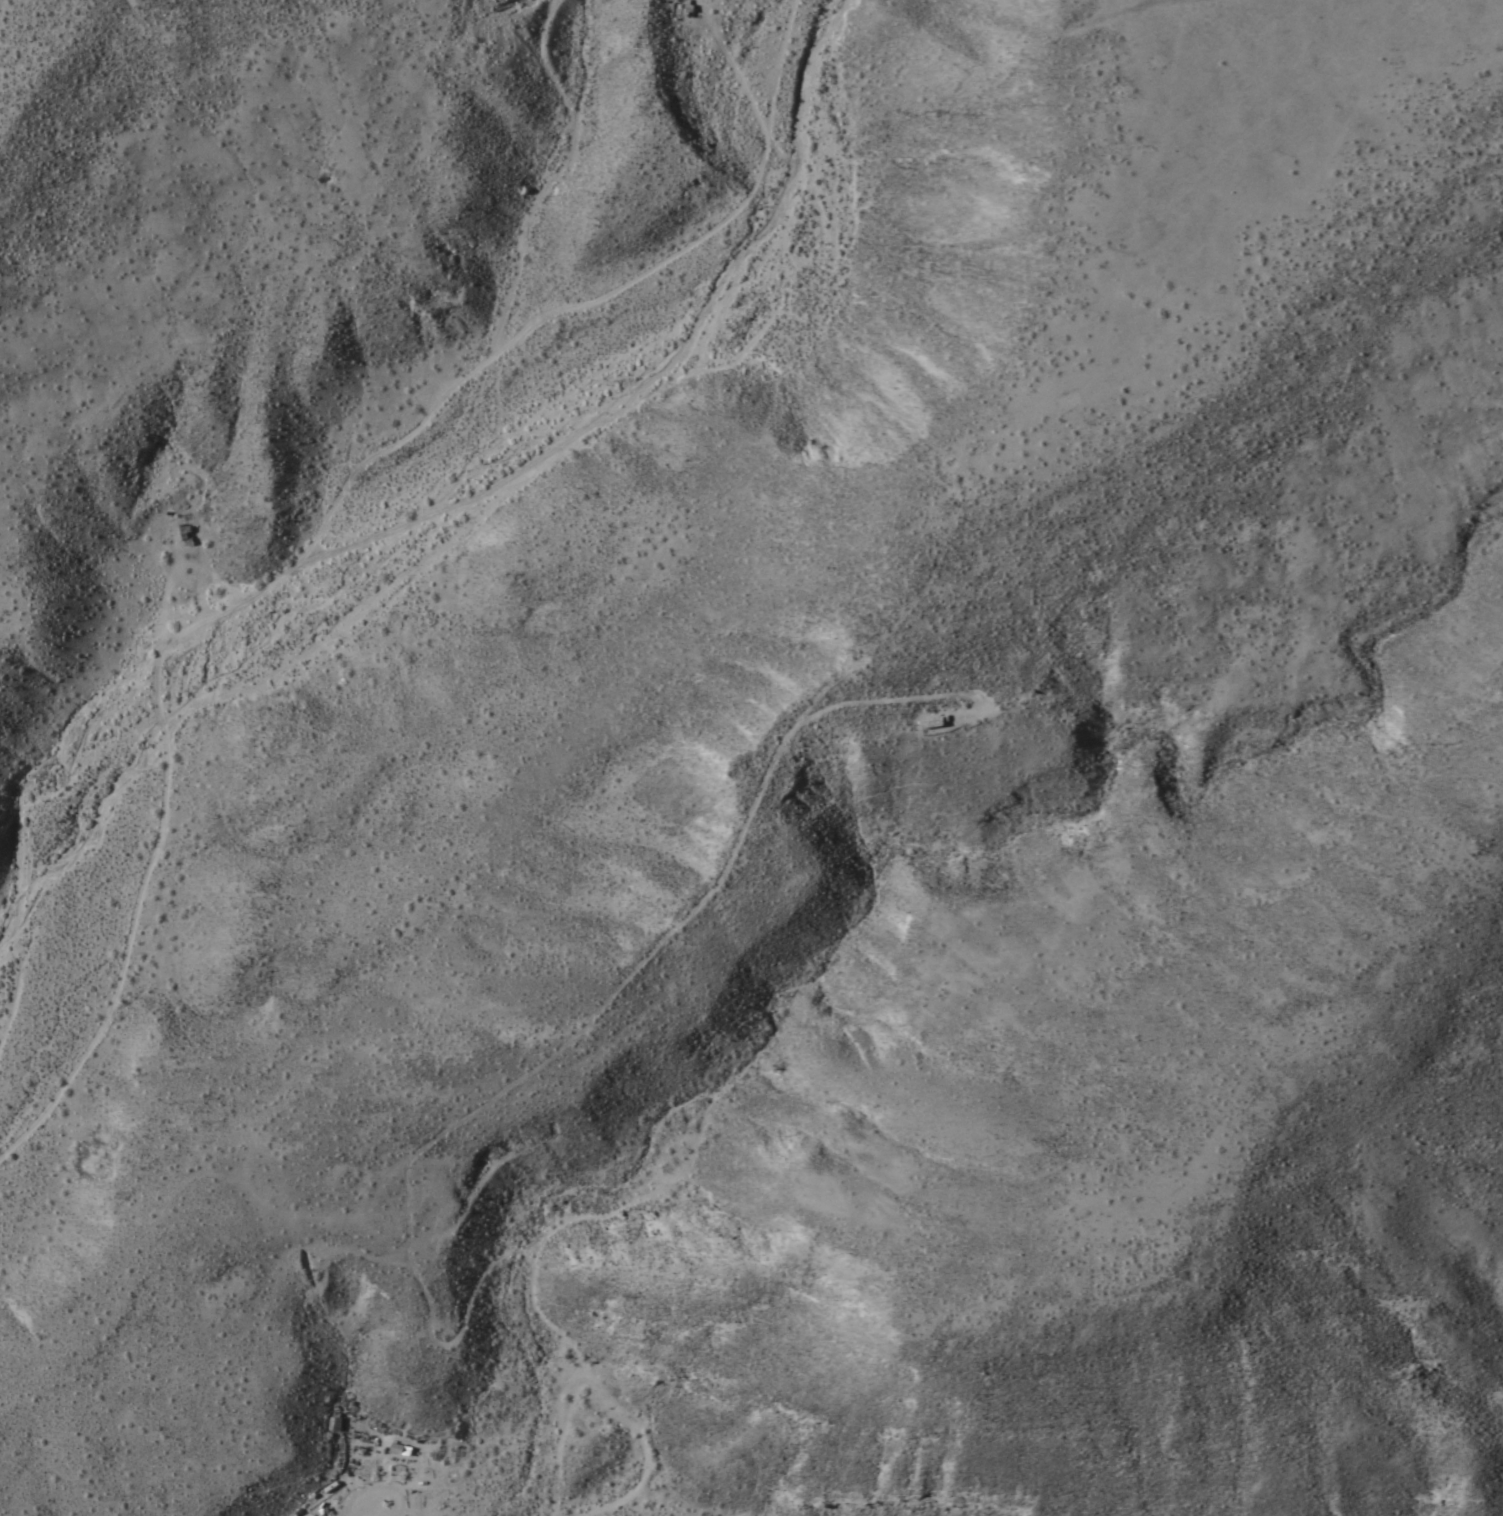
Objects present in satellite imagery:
building: (684, 6)
road: (737, 72)
road: (678, 110)
road: (323, 521)

